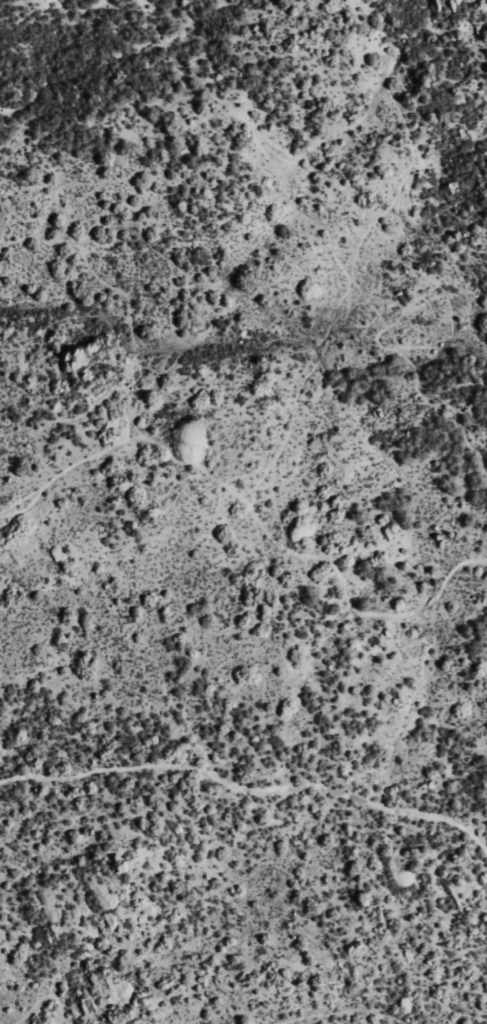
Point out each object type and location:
road: (356, 245)
road: (353, 316)
road: (250, 785)

